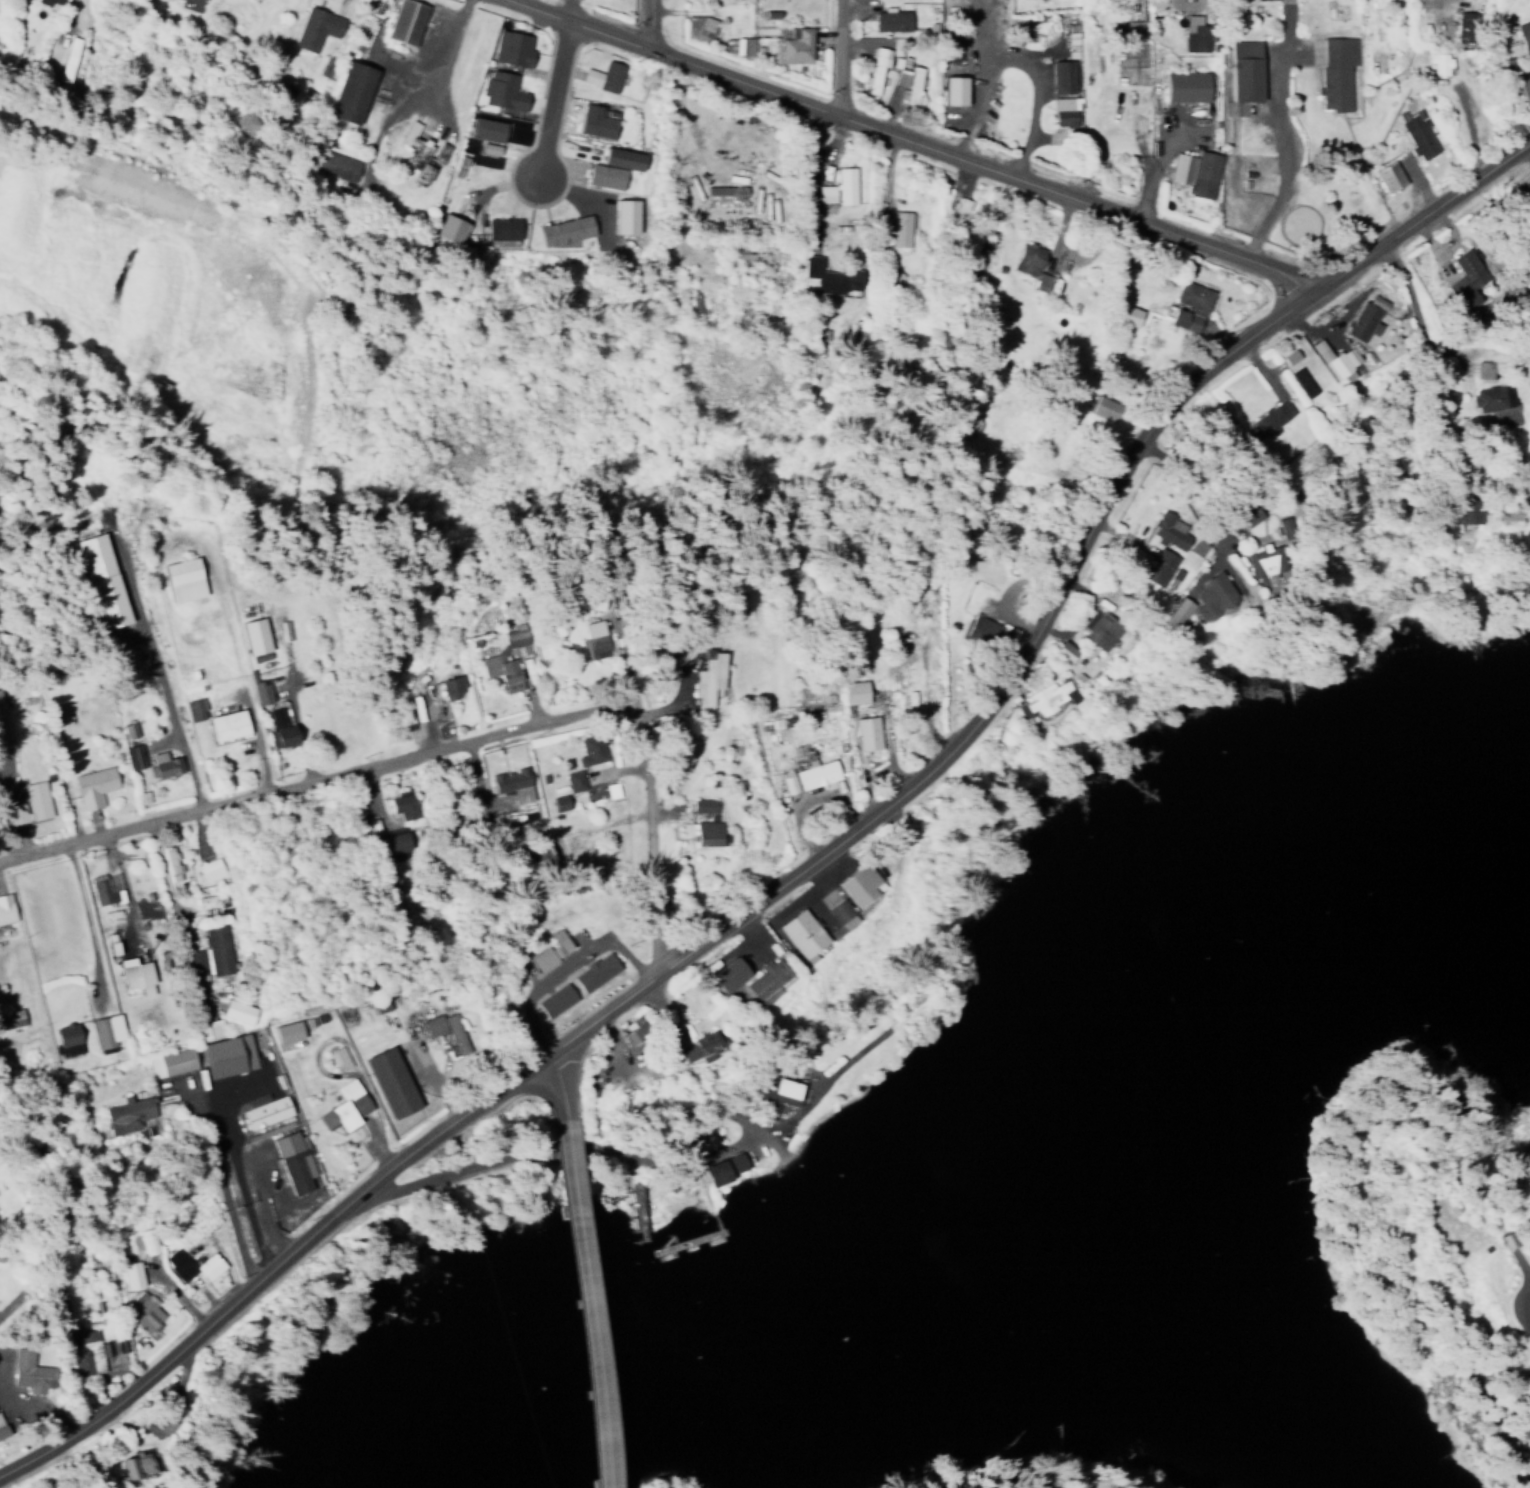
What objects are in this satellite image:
building: (197, 1)
building: (50, 3)
road: (67, 11)
building: (890, 15)
building: (405, 19)
building: (1133, 21)
building: (315, 23)
road: (650, 24)
building: (698, 26)
building: (1194, 30)
building: (1524, 33)
building: (1071, 36)
building: (796, 41)
building: (736, 45)
building: (512, 47)
road: (840, 55)
building: (68, 58)
building: (1437, 62)
building: (876, 65)
building: (1245, 66)
building: (1336, 68)
building: (1061, 72)
building: (604, 75)
building: (913, 81)
building: (1184, 82)
building: (1524, 83)
building: (953, 86)
building: (350, 89)
building: (502, 90)
road: (553, 98)
building: (1065, 107)
building: (598, 121)
building: (1418, 132)
road: (910, 137)
building: (421, 154)
building: (625, 158)
building: (334, 160)
building: (1190, 172)
building: (1388, 172)
building: (606, 175)
building: (838, 187)
building: (724, 190)
building: (625, 212)
building: (501, 224)
building: (449, 225)
building: (565, 225)
building: (899, 228)
building: (1025, 264)
building: (1466, 275)
building: (831, 277)
building: (1183, 306)
building: (1121, 314)
building: (1361, 316)
building: (1286, 355)
building: (1337, 359)
building: (1483, 366)
road: (1437, 384)
building: (1492, 392)
building: (1096, 407)
building: (1270, 414)
building: (1462, 511)
building: (1244, 515)
building: (1164, 531)
building: (1187, 553)
building: (1255, 562)
building: (1154, 567)
building: (185, 579)
building: (104, 580)
building: (1194, 600)
building: (1103, 628)
building: (988, 632)
building: (256, 636)
building: (513, 637)
building: (1068, 651)
building: (526, 670)
building: (501, 671)
building: (708, 677)
building: (69, 686)
building: (451, 687)
building: (261, 691)
building: (858, 692)
building: (1046, 697)
building: (193, 710)
building: (3, 724)
building: (228, 725)
building: (281, 729)
building: (868, 733)
road: (442, 742)
building: (591, 750)
building: (131, 753)
building: (574, 780)
building: (511, 784)
building: (787, 784)
building: (93, 786)
building: (611, 790)
building: (559, 803)
building: (30, 804)
building: (401, 805)
building: (705, 823)
road: (817, 852)
building: (169, 862)
building: (207, 869)
road: (167, 879)
building: (862, 885)
building: (102, 891)
building: (6, 909)
building: (841, 913)
road: (87, 914)
building: (804, 934)
building: (217, 949)
building: (543, 958)
building: (195, 961)
building: (596, 972)
building: (733, 974)
building: (136, 975)
building: (770, 980)
building: (555, 999)
building: (238, 1011)
building: (11, 1018)
building: (444, 1027)
building: (107, 1031)
building: (287, 1032)
building: (635, 1034)
building: (68, 1039)
building: (704, 1049)
building: (230, 1055)
building: (338, 1058)
building: (170, 1062)
road: (559, 1080)
building: (392, 1083)
building: (342, 1108)
building: (265, 1110)
building: (128, 1114)
building: (294, 1161)
building: (735, 1170)
building: (147, 1241)
building: (178, 1264)
building: (209, 1265)
building: (131, 1275)
road: (582, 1299)
building: (141, 1311)
building: (87, 1352)
building: (30, 1373)
building: (1, 1432)
building: (138, 1466)

